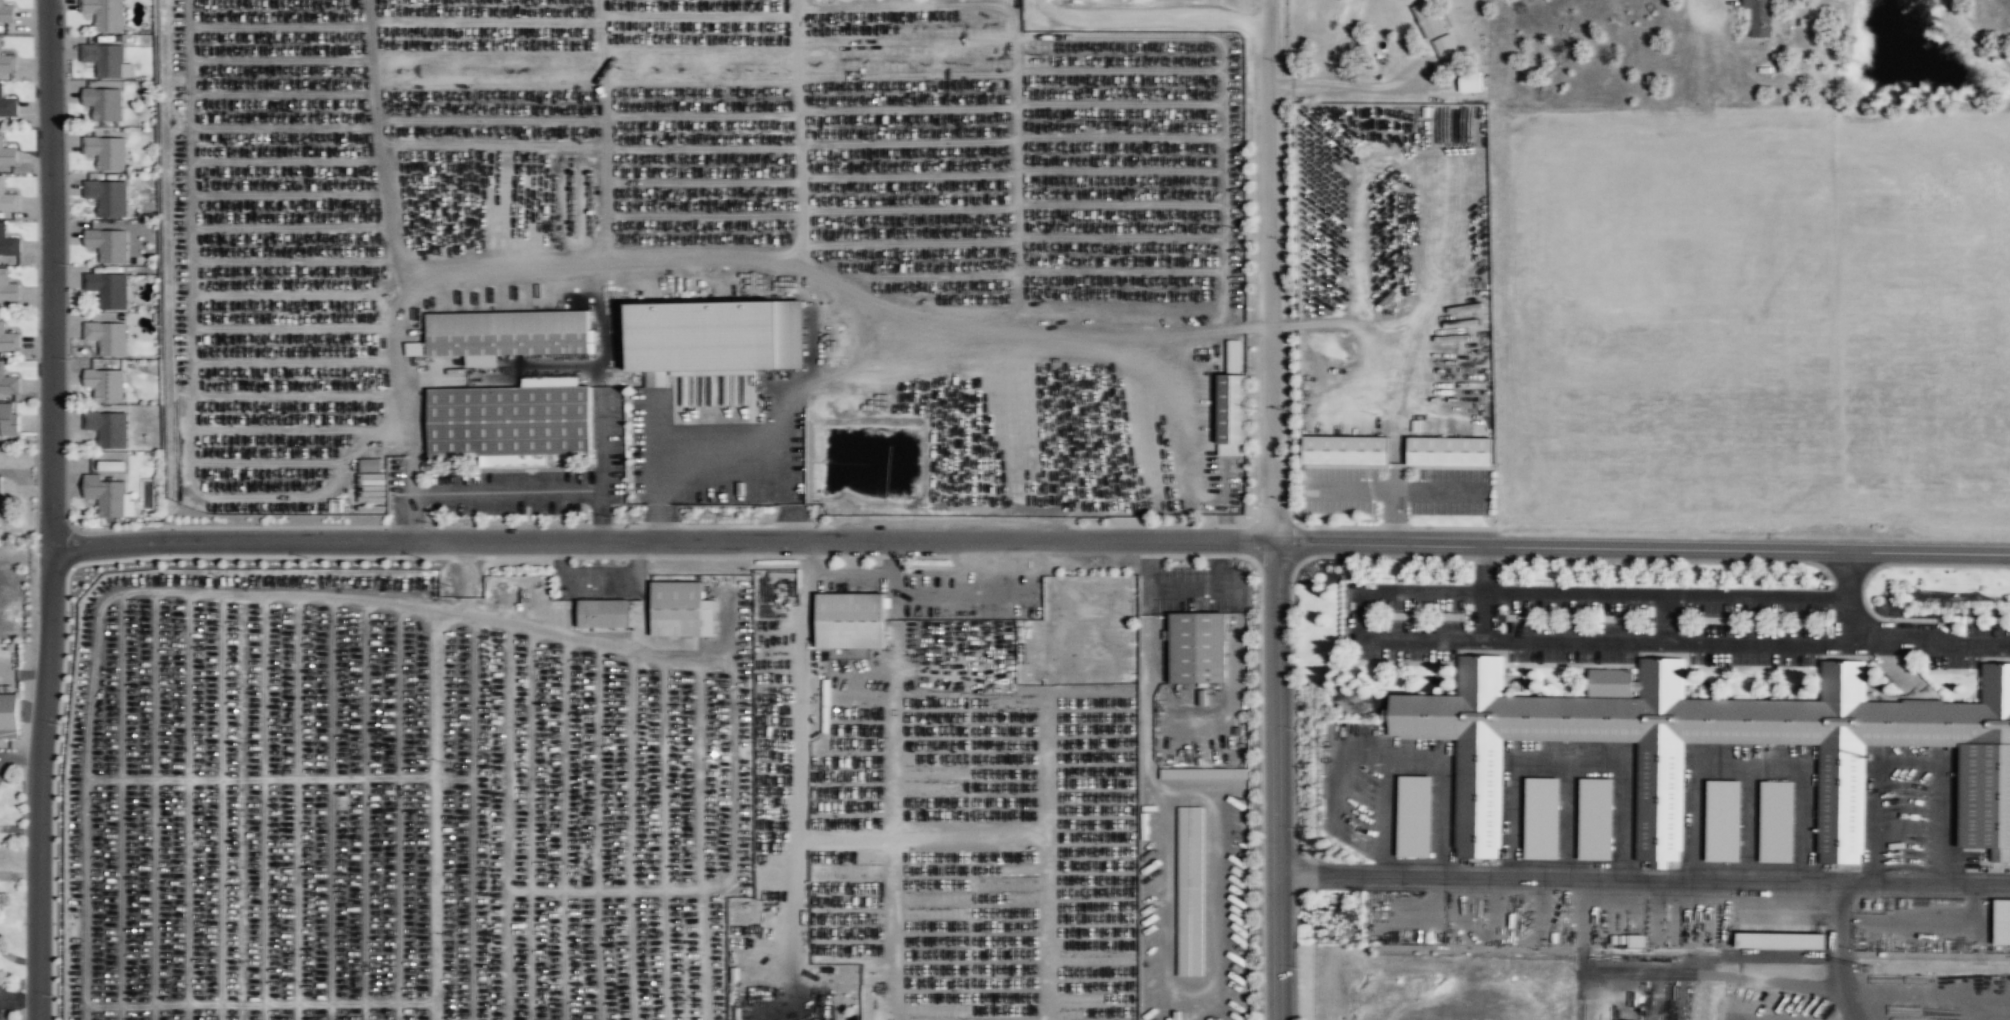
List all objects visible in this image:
road: (1708, 4)
road: (1040, 7)
building: (7, 10)
building: (104, 14)
road: (1154, 15)
building: (1758, 16)
building: (1430, 18)
building: (1446, 49)
building: (6, 58)
building: (105, 60)
road: (1338, 84)
building: (1470, 84)
building: (7, 102)
building: (103, 104)
building: (6, 151)
building: (105, 152)
building: (7, 195)
building: (107, 198)
building: (8, 240)
building: (106, 245)
road: (1268, 270)
road: (52, 272)
building: (8, 287)
building: (107, 291)
building: (505, 334)
building: (715, 337)
building: (8, 338)
building: (106, 338)
building: (8, 383)
building: (104, 386)
building: (1233, 405)
building: (8, 420)
building: (511, 421)
building: (106, 429)
building: (1345, 450)
building: (1449, 451)
building: (110, 465)
building: (368, 465)
building: (109, 496)
road: (661, 539)
road: (1641, 546)
road: (1847, 575)
building: (773, 587)
road: (1641, 594)
building: (681, 609)
building: (604, 614)
road: (1485, 616)
road: (1666, 619)
building: (851, 620)
parking lot: (1594, 630)
road: (1514, 640)
road: (1904, 645)
parking lot: (1972, 646)
building: (1199, 647)
building: (11, 716)
road: (1413, 760)
road: (1569, 761)
road: (1750, 763)
road: (1907, 763)
road: (1336, 768)
building: (1189, 773)
road: (1277, 780)
road: (38, 782)
building: (1985, 796)
parking lot: (1910, 812)
building: (1414, 816)
building: (1542, 818)
building: (1595, 818)
road: (1568, 820)
building: (1723, 820)
building: (1777, 821)
road: (1750, 822)
road: (1643, 879)
building: (1190, 891)
building: (2001, 921)
building: (1779, 939)
building: (1635, 940)
road: (1297, 950)
road: (1841, 952)

